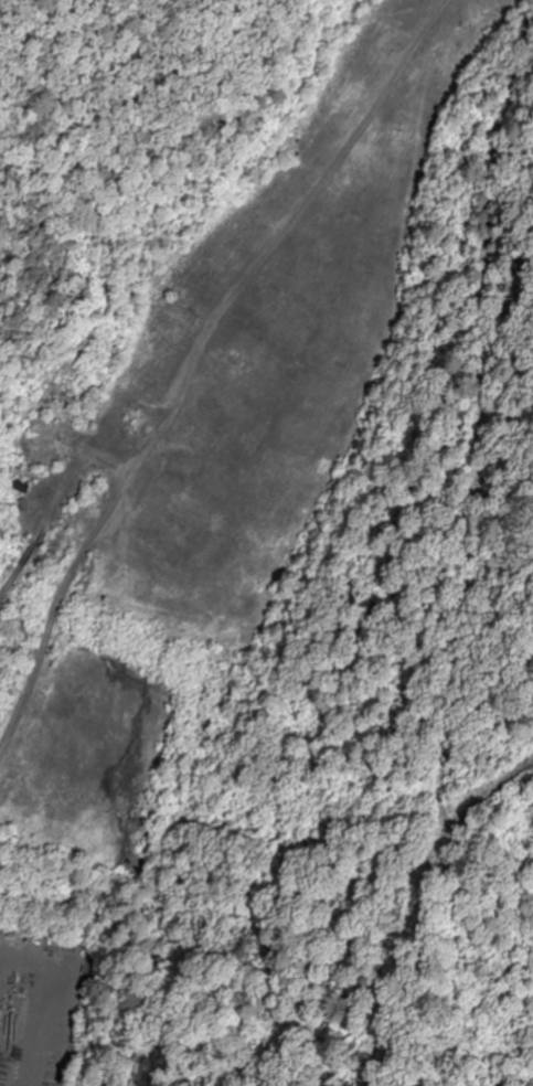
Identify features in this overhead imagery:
building: (420, 87)
building: (44, 945)

